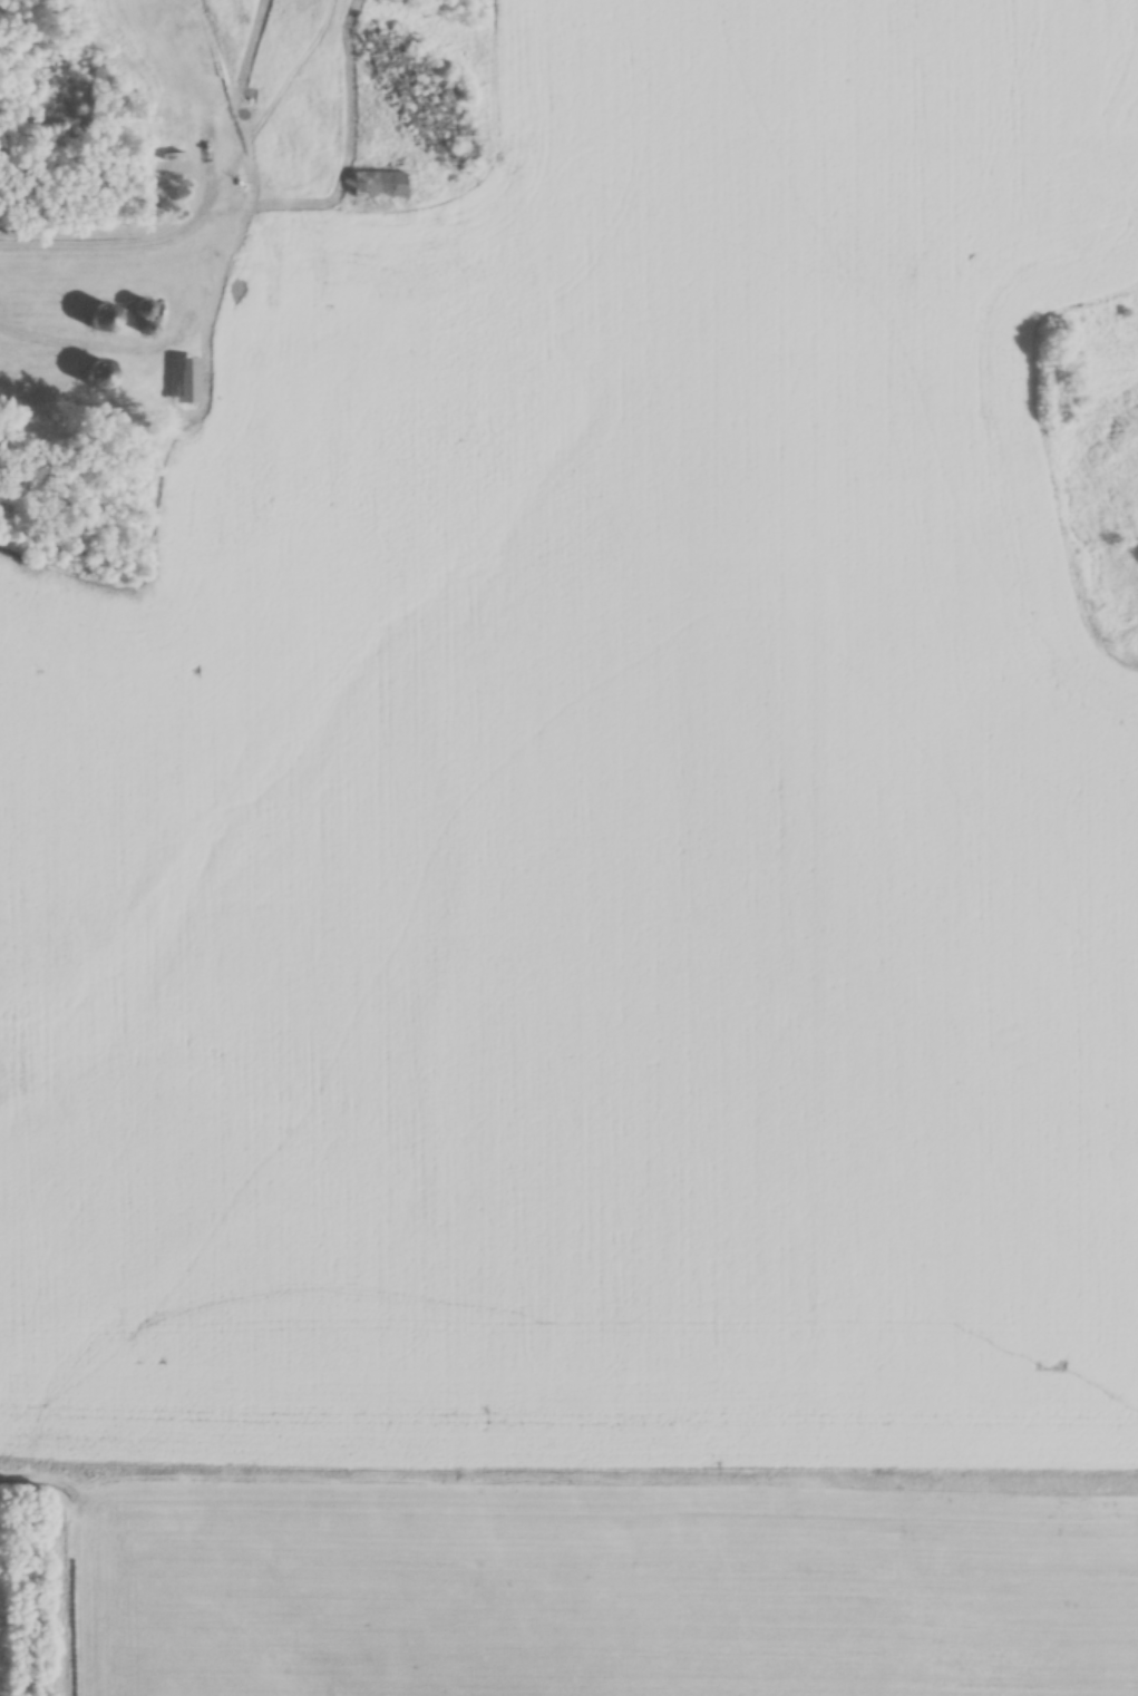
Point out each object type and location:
building: (175, 6)
building: (172, 129)
building: (380, 186)
road: (174, 232)
building: (146, 309)
building: (107, 318)
building: (149, 329)
building: (188, 380)

